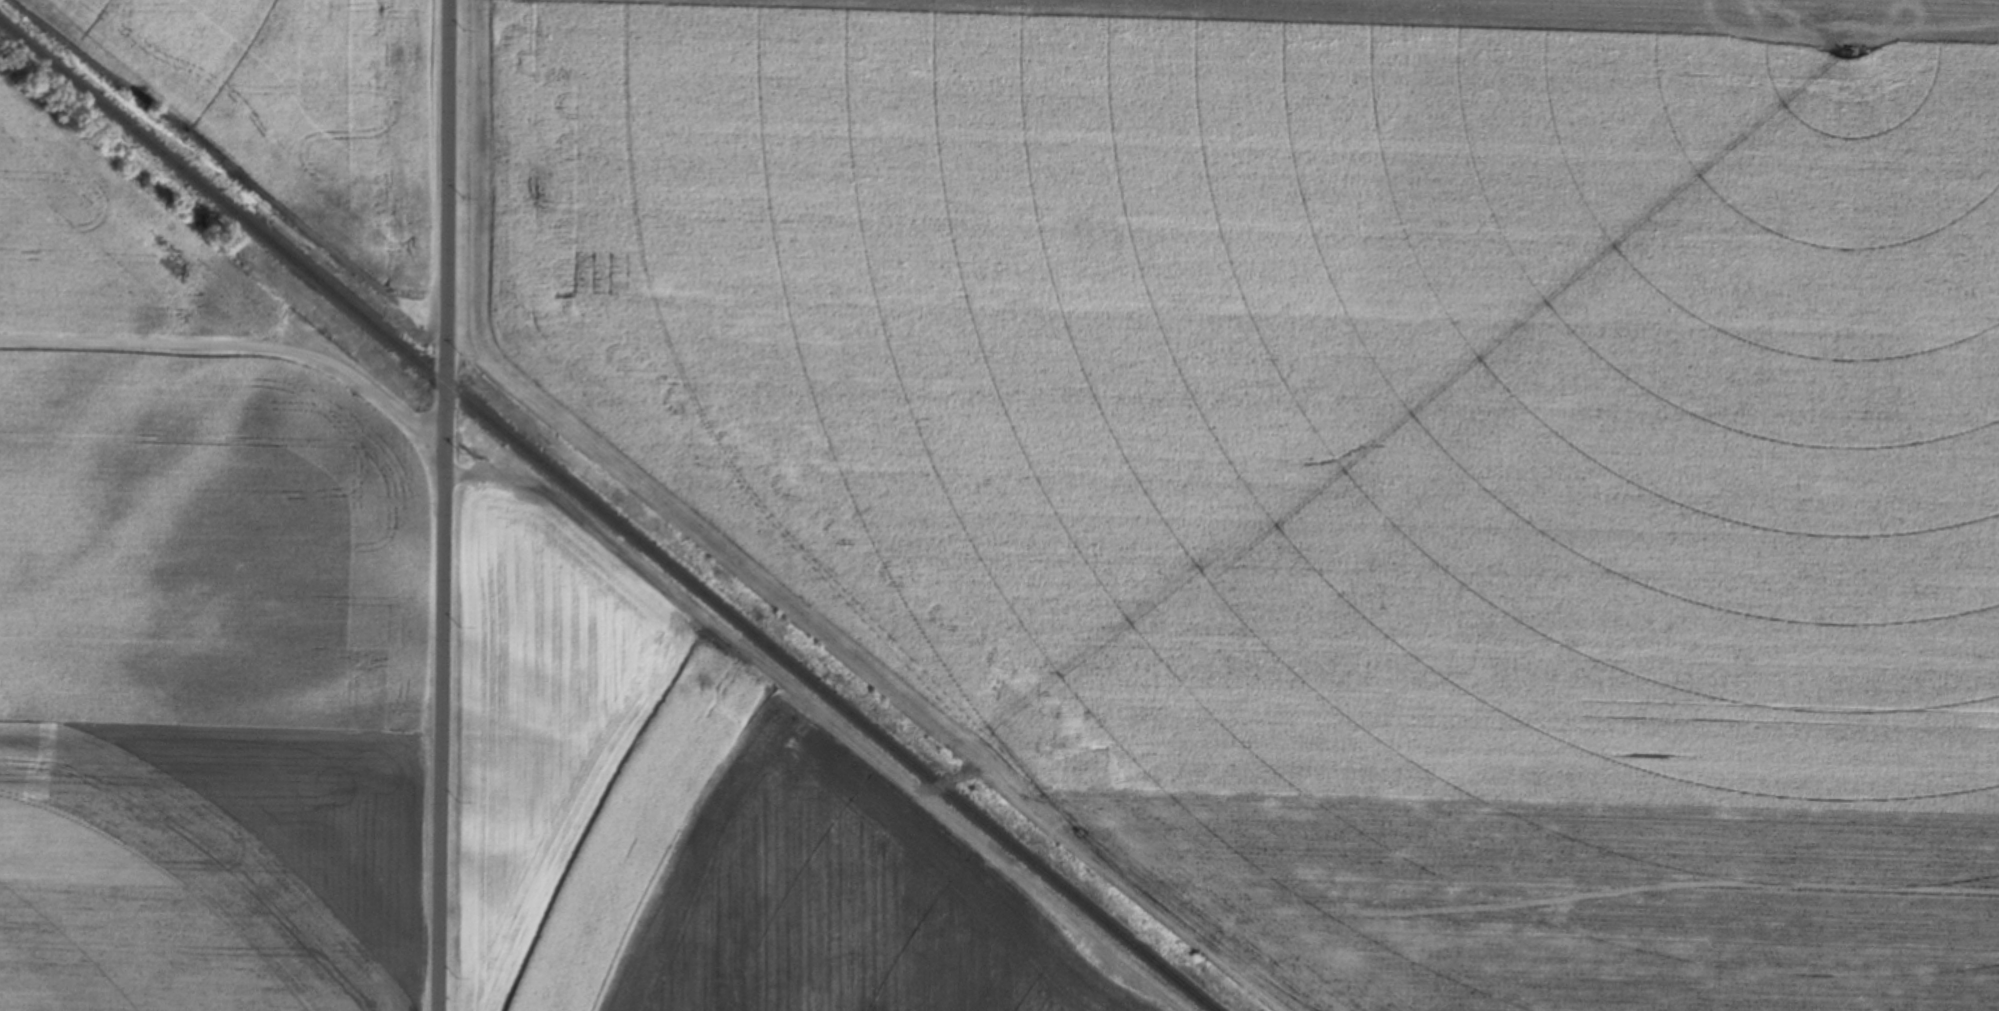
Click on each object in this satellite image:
road: (444, 505)
railway: (608, 516)

